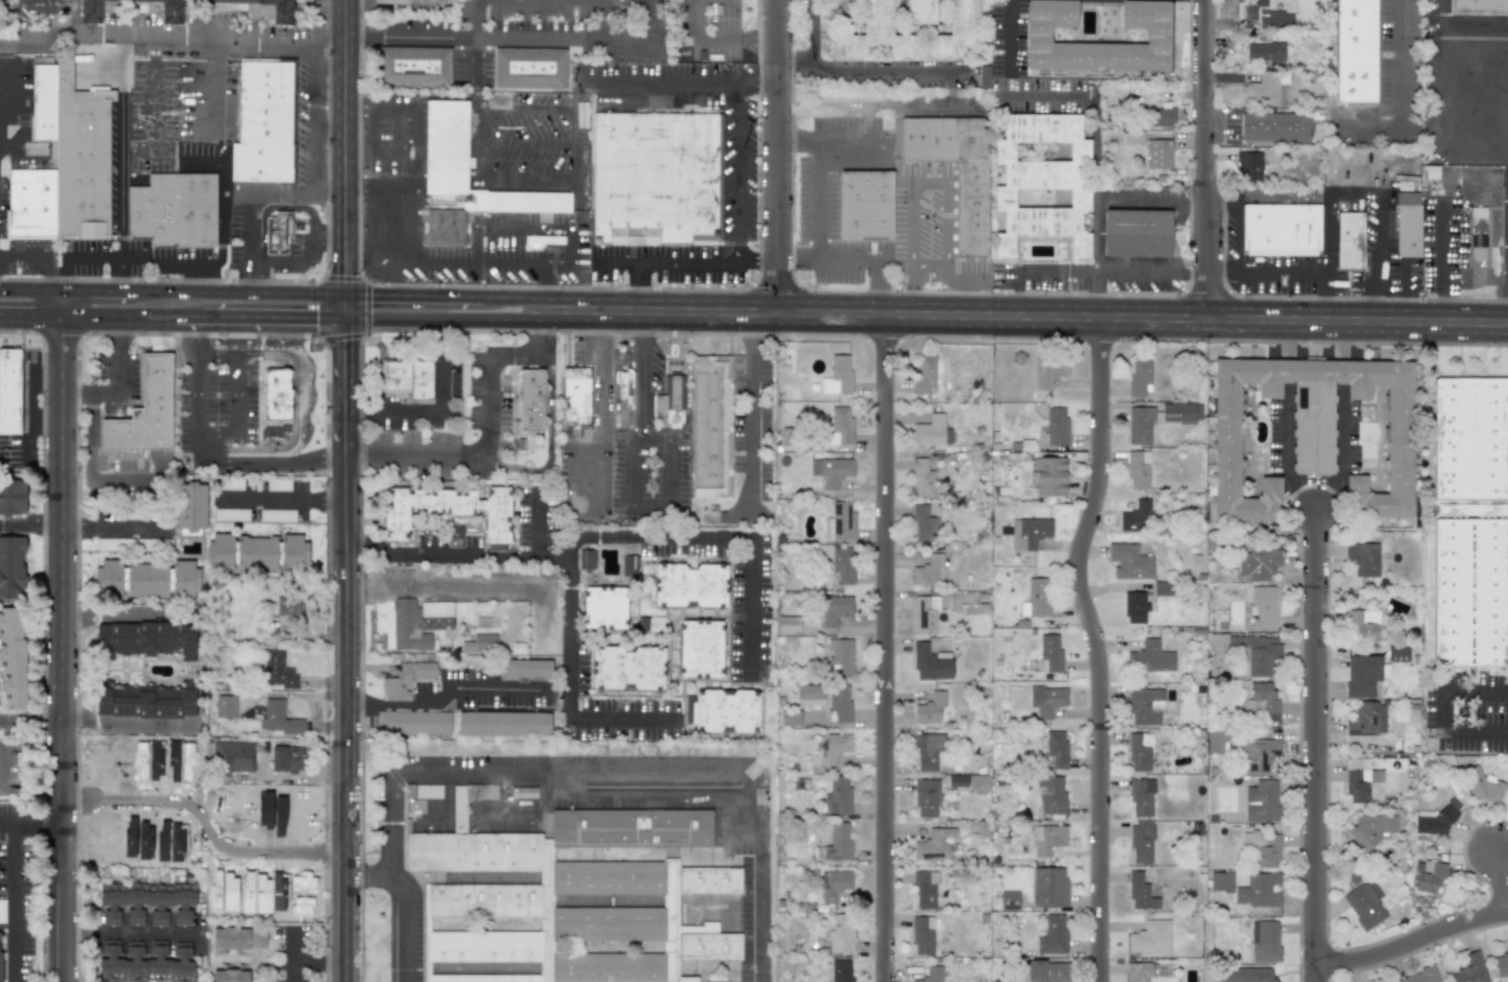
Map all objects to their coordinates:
building: (392, 1)
building: (1480, 6)
building: (35, 7)
building: (920, 11)
building: (171, 12)
building: (282, 13)
building: (1264, 14)
road: (477, 19)
building: (957, 28)
building: (877, 32)
road: (814, 33)
road: (1011, 33)
building: (1037, 35)
road: (463, 37)
road: (717, 39)
road: (636, 40)
road: (236, 43)
building: (1356, 51)
building: (1265, 52)
road: (1445, 58)
road: (1400, 61)
building: (414, 65)
road: (873, 67)
building: (529, 68)
road: (758, 75)
road: (662, 76)
building: (983, 77)
road: (218, 89)
building: (1266, 89)
road: (1048, 96)
road: (877, 101)
building: (1161, 116)
building: (265, 121)
road: (158, 125)
building: (1274, 127)
road: (853, 137)
building: (1131, 137)
road: (408, 147)
road: (1097, 150)
building: (1158, 153)
road: (778, 156)
road: (342, 159)
road: (1209, 159)
building: (64, 161)
building: (1248, 165)
road: (1352, 166)
road: (739, 168)
building: (1430, 171)
road: (938, 172)
road: (819, 178)
building: (466, 179)
building: (657, 179)
building: (1042, 181)
road: (376, 182)
road: (295, 193)
road: (123, 196)
building: (866, 203)
road: (272, 206)
building: (971, 209)
building: (174, 211)
road: (1237, 223)
building: (1407, 224)
road: (246, 228)
road: (523, 229)
building: (1281, 229)
building: (278, 231)
building: (1137, 232)
building: (1477, 233)
building: (1348, 235)
road: (1099, 237)
building: (544, 239)
road: (1445, 239)
road: (41, 258)
road: (480, 258)
road: (667, 261)
road: (758, 261)
road: (136, 262)
road: (854, 262)
road: (303, 264)
road: (1057, 270)
road: (1285, 272)
road: (246, 279)
road: (642, 286)
road: (31, 291)
road: (305, 294)
traffic signals: (342, 294)
road: (62, 304)
road: (367, 308)
road: (31, 316)
road: (1026, 316)
road: (117, 317)
road: (187, 318)
road: (271, 318)
traffic signals: (342, 318)
road: (444, 320)
road: (200, 335)
road: (1286, 336)
road: (1344, 337)
road: (216, 353)
road: (1285, 369)
road: (1343, 371)
building: (1050, 372)
building: (924, 374)
building: (838, 375)
building: (409, 377)
building: (1139, 377)
road: (117, 383)
building: (625, 383)
building: (9, 391)
building: (276, 394)
road: (199, 398)
building: (577, 399)
building: (531, 400)
building: (672, 400)
road: (294, 405)
road: (601, 407)
building: (145, 411)
road: (754, 411)
road: (436, 412)
building: (1159, 419)
building: (713, 426)
building: (840, 426)
building: (1056, 426)
road: (488, 430)
building: (932, 431)
building: (1313, 431)
road: (549, 439)
building: (1470, 439)
building: (1027, 445)
road: (214, 446)
road: (1285, 452)
road: (1341, 452)
road: (321, 458)
road: (90, 466)
road: (633, 470)
building: (1138, 470)
building: (834, 472)
building: (1049, 475)
building: (922, 478)
building: (231, 484)
building: (278, 485)
building: (12, 497)
road: (278, 499)
building: (191, 509)
building: (1471, 509)
building: (449, 510)
building: (231, 514)
building: (277, 515)
building: (1136, 517)
building: (840, 521)
road: (30, 522)
road: (536, 523)
building: (923, 524)
road: (114, 529)
building: (1029, 533)
road: (671, 536)
road: (576, 541)
building: (113, 544)
building: (149, 544)
building: (256, 553)
road: (456, 554)
building: (587, 559)
building: (1364, 559)
building: (1129, 562)
building: (1259, 563)
building: (628, 565)
building: (842, 565)
building: (12, 568)
building: (929, 571)
building: (146, 579)
building: (690, 585)
road: (469, 586)
building: (1163, 588)
building: (1470, 593)
building: (1038, 597)
parking lot: (750, 598)
building: (289, 606)
building: (1265, 606)
building: (604, 607)
road: (750, 608)
building: (1135, 608)
building: (934, 609)
road: (113, 610)
building: (835, 610)
building: (418, 623)
building: (1362, 624)
building: (788, 625)
road: (569, 637)
building: (147, 639)
building: (480, 644)
road: (1097, 646)
road: (885, 648)
road: (59, 649)
road: (343, 649)
building: (700, 649)
building: (1250, 651)
building: (1050, 653)
building: (1398, 654)
building: (841, 657)
building: (12, 658)
building: (1150, 658)
building: (930, 664)
building: (627, 667)
building: (525, 668)
building: (277, 669)
building: (1362, 676)
building: (406, 679)
road: (441, 691)
road: (1477, 693)
building: (810, 695)
road: (319, 696)
building: (1047, 700)
building: (147, 701)
building: (839, 703)
building: (1261, 703)
building: (1145, 705)
building: (225, 706)
building: (930, 708)
building: (722, 710)
building: (1411, 713)
road: (623, 718)
building: (790, 718)
building: (279, 719)
building: (1367, 720)
road: (29, 722)
building: (413, 722)
building: (503, 724)
road: (125, 726)
road: (1482, 738)
building: (1215, 740)
road: (1315, 745)
building: (833, 747)
building: (928, 751)
building: (1056, 751)
building: (1140, 752)
building: (1259, 754)
building: (233, 757)
building: (288, 759)
road: (296, 776)
road: (679, 777)
building: (1357, 780)
building: (971, 782)
road: (0, 784)
building: (1484, 787)
building: (423, 791)
building: (523, 792)
building: (1051, 794)
building: (838, 796)
building: (927, 797)
building: (1141, 798)
building: (1240, 799)
building: (1262, 801)
road: (204, 820)
building: (1432, 822)
road: (35, 824)
building: (1373, 830)
building: (1048, 839)
building: (1141, 841)
building: (840, 843)
building: (934, 845)
building: (1264, 847)
road: (394, 848)
building: (1428, 876)
road: (1500, 879)
building: (1221, 882)
building: (835, 884)
building: (1049, 887)
building: (925, 890)
building: (1259, 891)
building: (1141, 893)
road: (14, 897)
building: (570, 897)
building: (1010, 900)
building: (147, 902)
building: (1365, 904)
building: (2, 911)
road: (394, 928)
road: (125, 929)
building: (841, 934)
building: (1053, 935)
building: (922, 936)
building: (1151, 937)
building: (239, 938)
building: (1265, 941)
road: (1413, 942)
road: (302, 961)
building: (146, 963)
building: (1501, 963)
building: (1, 966)
building: (1470, 969)
road: (292, 971)
building: (841, 971)
building: (1047, 971)
building: (1138, 972)
building: (1249, 974)
building: (931, 975)
building: (230, 976)
building: (1421, 976)
building: (1009, 981)

